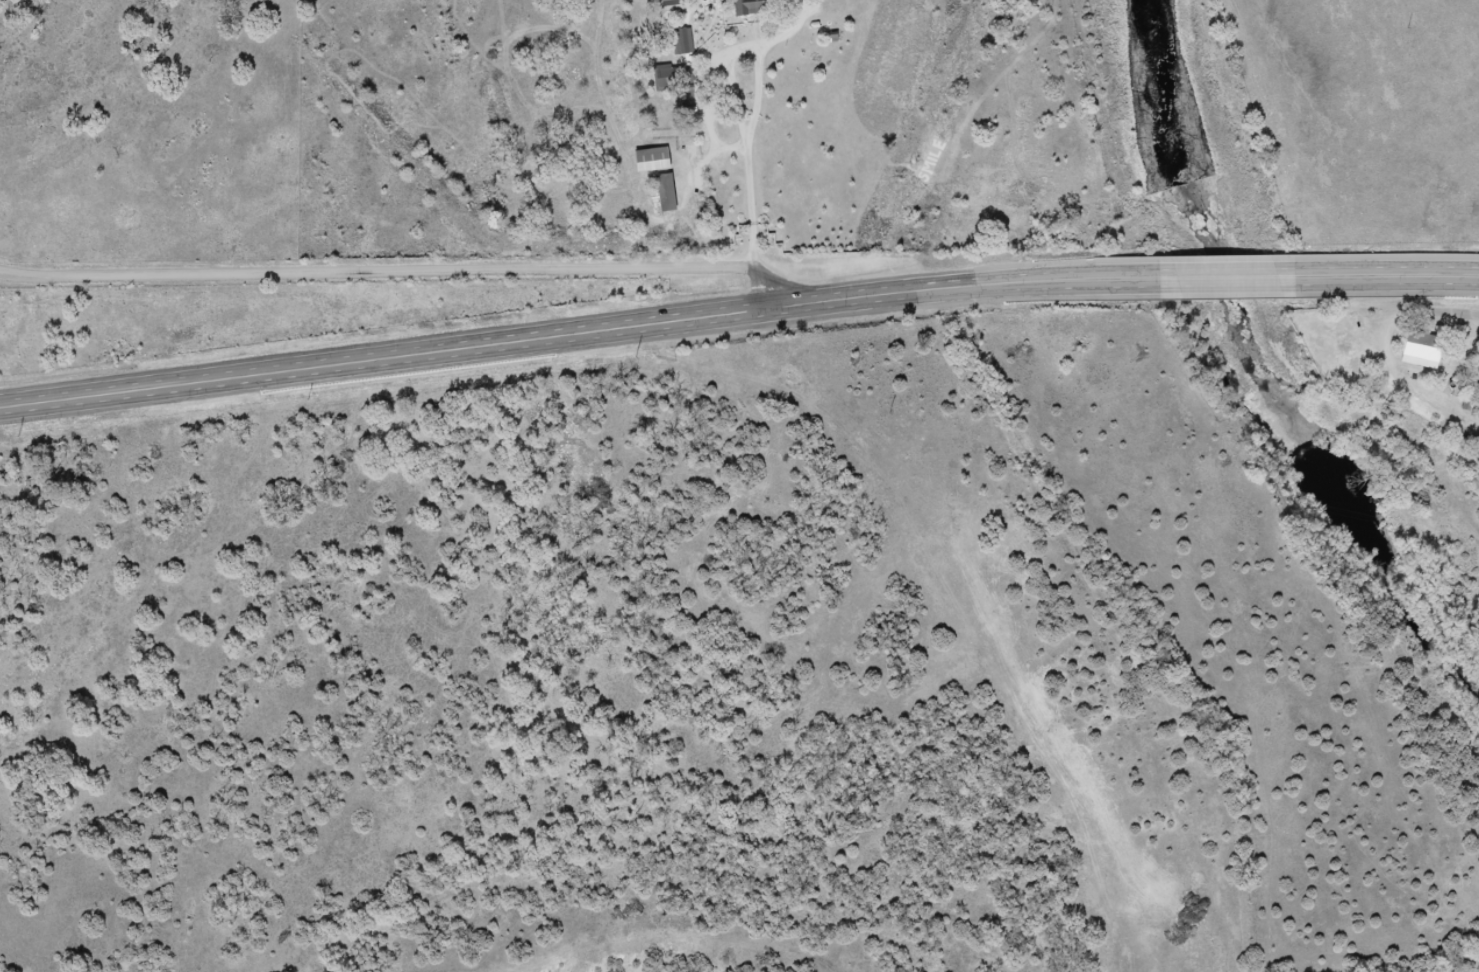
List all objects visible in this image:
building: (754, 7)
building: (674, 10)
building: (684, 42)
building: (675, 78)
building: (653, 161)
building: (667, 194)
road: (131, 259)
road: (401, 273)
road: (737, 319)
building: (1425, 348)

